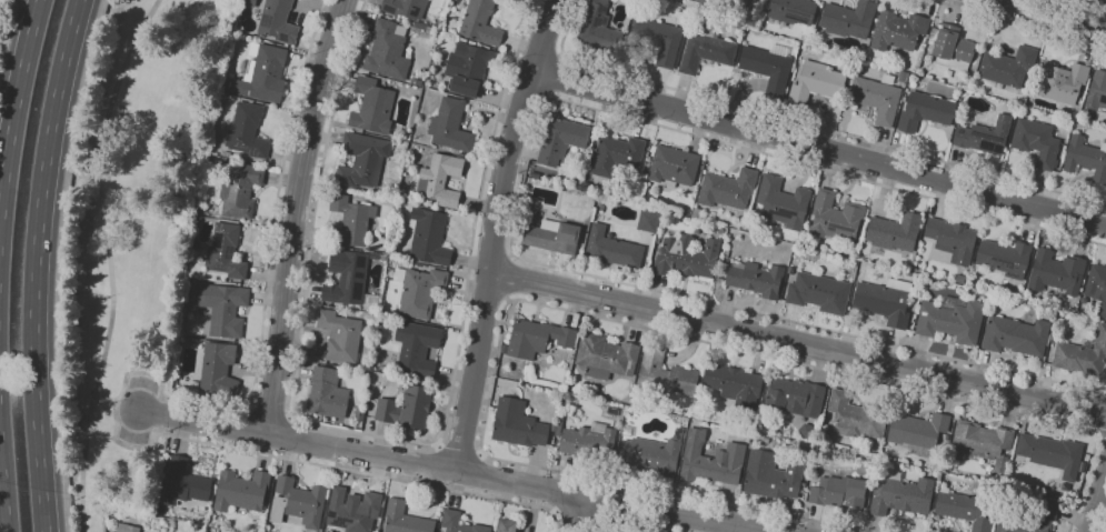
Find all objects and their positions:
building: (755, 0)
building: (700, 1)
road: (1087, 4)
building: (406, 8)
building: (794, 10)
rooftop solar panel: (801, 13)
road: (1056, 14)
rooftop solar panel: (271, 18)
building: (849, 19)
building: (278, 21)
building: (480, 22)
road: (1016, 26)
building: (599, 28)
building: (899, 30)
rooftop solar panel: (281, 36)
building: (658, 39)
building: (951, 46)
building: (706, 49)
building: (387, 51)
building: (1008, 66)
building: (769, 67)
building: (468, 68)
building: (263, 73)
road: (558, 76)
building: (903, 76)
building: (889, 78)
building: (817, 81)
building: (1063, 81)
building: (1097, 90)
rooftop solar panel: (1066, 97)
building: (876, 99)
road: (14, 106)
building: (373, 107)
building: (926, 110)
road: (805, 123)
building: (451, 126)
building: (248, 130)
building: (986, 135)
building: (561, 140)
building: (1037, 141)
rooftop solar panel: (986, 144)
road: (819, 145)
rooftop solar panel: (996, 148)
rooftop solar panel: (240, 149)
rooftop solar panel: (251, 154)
building: (617, 154)
building: (1086, 158)
building: (362, 159)
building: (672, 165)
building: (440, 179)
building: (240, 189)
building: (728, 189)
road: (521, 190)
building: (784, 202)
rooftop solar panel: (781, 213)
road: (298, 215)
building: (836, 218)
building: (352, 219)
building: (649, 221)
rooftop solar panel: (830, 227)
rooftop solar panel: (840, 228)
road: (495, 231)
building: (895, 231)
building: (429, 235)
building: (554, 235)
rooftop solar panel: (221, 238)
park: (128, 239)
building: (953, 239)
rooftop solar panel: (228, 249)
building: (611, 249)
building: (226, 251)
building: (375, 254)
building: (687, 257)
building: (1006, 257)
rooftop solar panel: (229, 258)
road: (109, 260)
rooftop solar panel: (1000, 260)
road: (34, 263)
rooftop solar panel: (336, 264)
rooftop solar panel: (220, 268)
building: (791, 269)
building: (1057, 271)
rooftop solar panel: (1012, 274)
road: (509, 277)
building: (756, 278)
building: (349, 279)
rooftop solar panel: (346, 280)
building: (1097, 285)
rooftop solar panel: (1102, 291)
building: (421, 292)
building: (820, 292)
rooftop solar panel: (328, 297)
building: (886, 300)
building: (222, 307)
road: (580, 313)
building: (951, 319)
building: (1016, 334)
building: (340, 335)
building: (537, 338)
road: (797, 341)
building: (418, 348)
building: (1083, 354)
building: (607, 357)
building: (218, 370)
road: (129, 372)
building: (666, 373)
building: (735, 384)
building: (327, 393)
building: (796, 397)
road: (118, 404)
building: (407, 408)
road: (270, 411)
building: (360, 414)
building: (856, 416)
building: (518, 424)
building: (918, 429)
building: (807, 431)
road: (1099, 433)
road: (380, 436)
building: (588, 441)
building: (982, 442)
road: (460, 448)
building: (652, 453)
building: (1052, 453)
building: (711, 459)
road: (455, 470)
building: (776, 473)
building: (185, 483)
building: (241, 491)
building: (839, 491)
building: (901, 495)
road: (2, 499)
building: (298, 502)
road: (1097, 503)
building: (965, 509)
building: (353, 511)
road: (575, 513)
building: (1045, 513)
rooftop solar panel: (329, 514)
road: (575, 516)
building: (406, 519)
rooftop solar panel: (339, 520)
building: (460, 522)
road: (622, 524)
building: (507, 525)
building: (128, 528)
road: (1105, 529)

